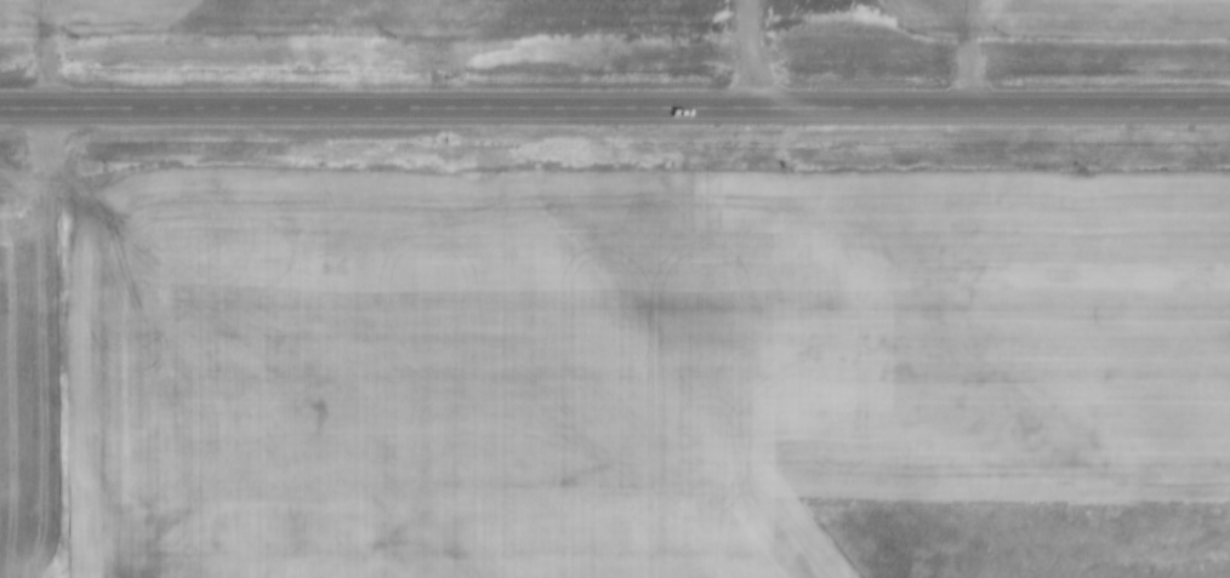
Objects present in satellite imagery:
road: (614, 107)
road: (830, 548)

